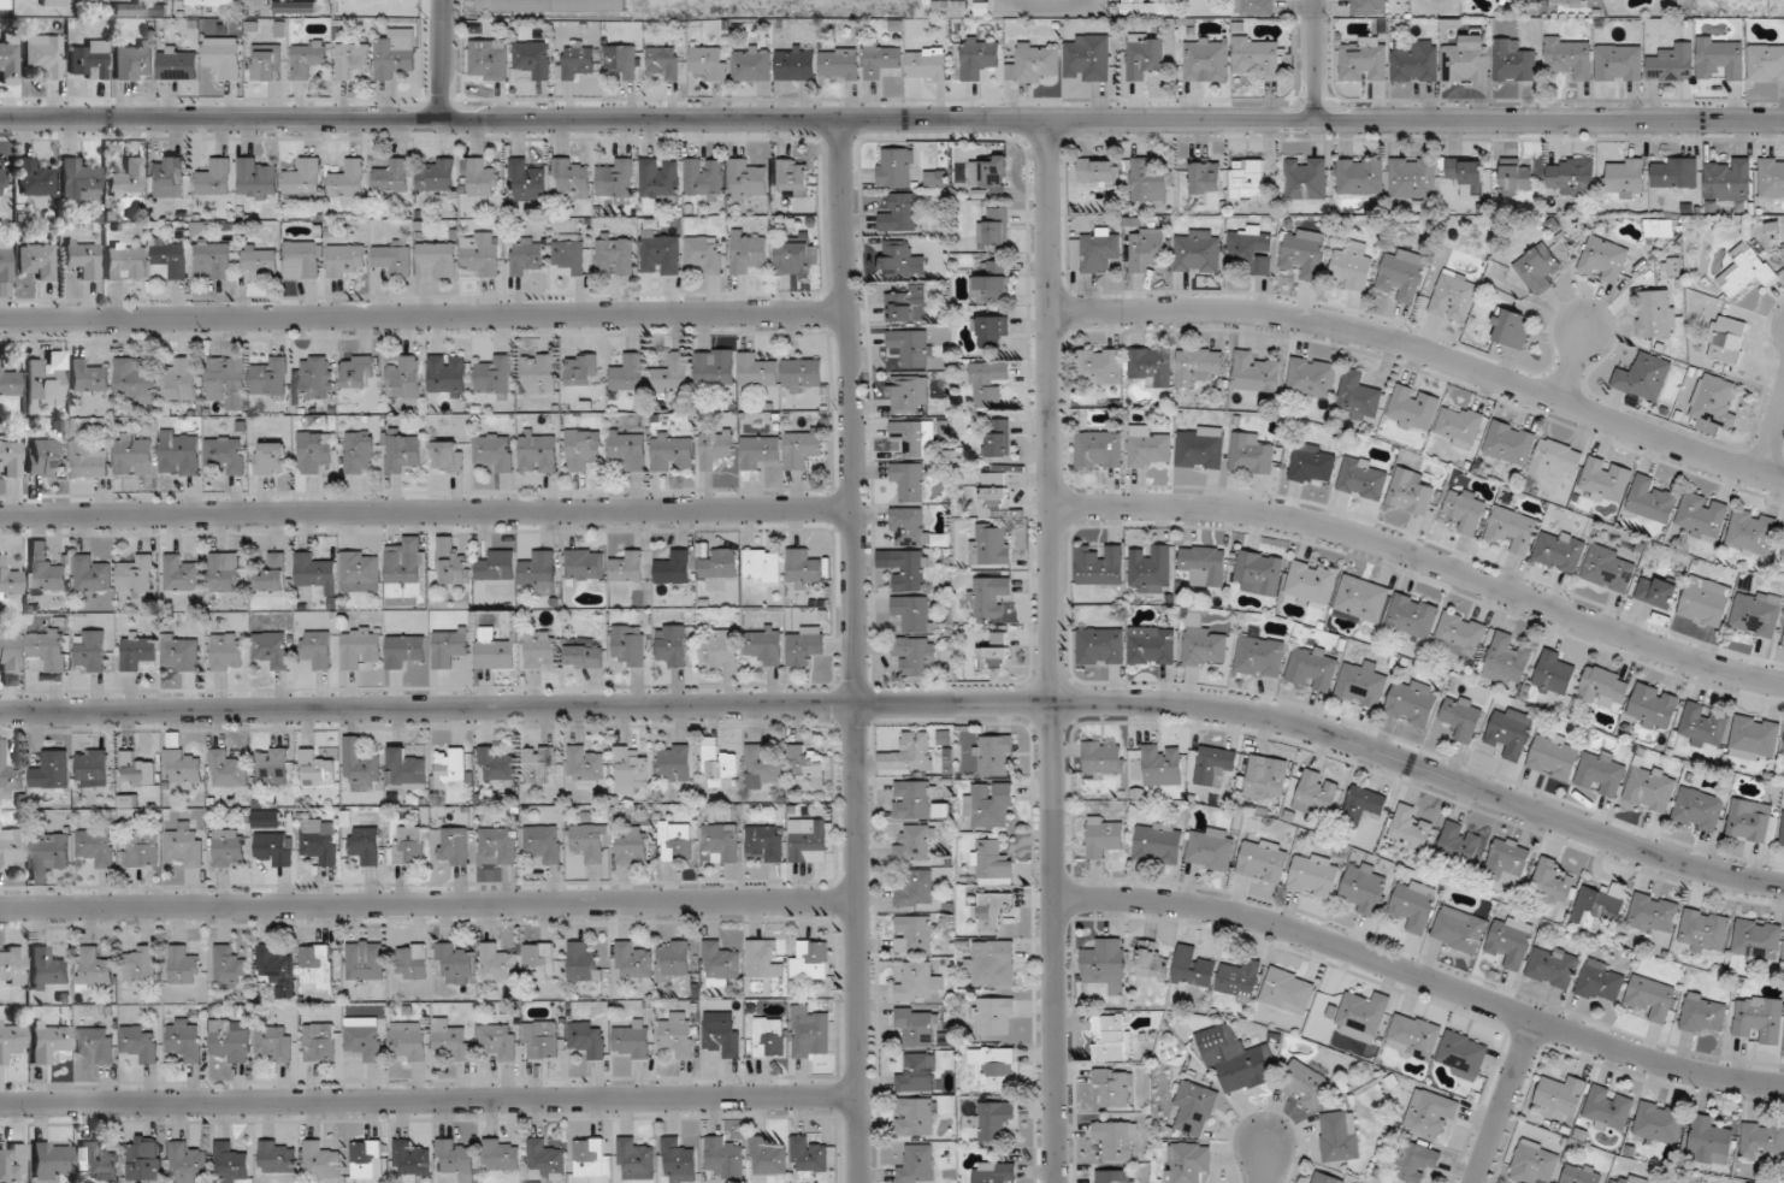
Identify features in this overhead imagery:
building: (1520, 0)
road: (1004, 1)
building: (1567, 1)
building: (4, 2)
building: (54, 2)
road: (1097, 2)
road: (250, 4)
road: (1050, 4)
building: (211, 5)
building: (551, 5)
road: (91, 6)
building: (1146, 6)
building: (295, 7)
building: (952, 7)
building: (1254, 7)
building: (1369, 7)
building: (140, 10)
building: (396, 52)
building: (43, 54)
building: (1145, 54)
building: (1258, 54)
building: (1570, 55)
building: (223, 57)
building: (352, 57)
building: (980, 57)
building: (1087, 57)
building: (90, 58)
building: (308, 58)
building: (533, 58)
building: (881, 58)
building: (1720, 58)
building: (134, 59)
building: (489, 59)
building: (1206, 59)
building: (1365, 59)
building: (1467, 59)
building: (10, 60)
road: (441, 60)
building: (577, 60)
building: (622, 60)
building: (1513, 60)
building: (177, 61)
building: (266, 61)
building: (664, 61)
building: (710, 61)
road: (1317, 61)
building: (1414, 61)
building: (1619, 61)
building: (1766, 61)
building: (752, 63)
building: (796, 63)
building: (927, 63)
building: (1033, 63)
building: (1672, 63)
building: (838, 64)
road: (891, 123)
building: (896, 167)
building: (1098, 170)
building: (1466, 170)
building: (988, 171)
building: (1674, 171)
building: (392, 175)
building: (437, 175)
building: (793, 175)
building: (1572, 175)
building: (77, 176)
building: (572, 176)
building: (1360, 176)
building: (1625, 176)
building: (34, 177)
building: (214, 177)
building: (937, 177)
building: (1205, 177)
building: (1306, 177)
building: (1413, 177)
building: (1772, 177)
building: (126, 178)
building: (170, 178)
building: (256, 178)
building: (303, 178)
building: (482, 178)
building: (704, 178)
building: (1247, 178)
building: (1514, 178)
building: (1727, 178)
building: (349, 179)
building: (526, 179)
building: (661, 179)
building: (748, 179)
building: (618, 181)
building: (1147, 181)
building: (1, 182)
building: (899, 213)
building: (997, 226)
building: (1146, 248)
building: (1251, 248)
building: (748, 250)
building: (1097, 250)
building: (1198, 250)
building: (482, 252)
building: (1304, 252)
building: (661, 253)
building: (705, 253)
building: (615, 254)
building: (526, 255)
building: (569, 255)
building: (793, 255)
building: (171, 256)
building: (215, 256)
building: (394, 256)
building: (438, 256)
building: (83, 258)
building: (6, 259)
building: (345, 259)
building: (902, 259)
building: (1603, 259)
building: (37, 260)
building: (126, 260)
building: (260, 260)
building: (303, 260)
building: (1353, 266)
building: (1538, 267)
building: (1747, 268)
building: (1404, 274)
building: (988, 286)
building: (1454, 296)
building: (908, 304)
building: (1656, 313)
road: (421, 315)
building: (1511, 327)
building: (990, 330)
building: (1726, 339)
building: (910, 347)
road: (1425, 351)
road: (1572, 362)
building: (715, 366)
building: (1099, 366)
building: (1151, 366)
building: (1198, 366)
building: (581, 369)
building: (757, 369)
building: (358, 371)
building: (673, 371)
building: (630, 372)
building: (538, 373)
building: (804, 373)
building: (1256, 373)
building: (448, 374)
building: (89, 375)
building: (270, 375)
building: (315, 375)
building: (495, 375)
building: (404, 377)
building: (1644, 377)
building: (1312, 378)
building: (47, 379)
building: (136, 379)
building: (179, 379)
building: (228, 380)
building: (987, 381)
building: (10, 384)
building: (908, 392)
building: (1359, 397)
building: (1713, 403)
building: (1413, 408)
building: (1459, 425)
road: (1772, 434)
building: (914, 437)
building: (998, 437)
building: (1510, 443)
building: (716, 446)
building: (1200, 446)
building: (630, 448)
building: (803, 448)
building: (1148, 448)
building: (583, 449)
building: (1099, 449)
building: (314, 450)
building: (181, 451)
building: (496, 451)
building: (538, 451)
building: (673, 451)
building: (359, 453)
building: (402, 453)
building: (134, 454)
building: (226, 454)
building: (758, 454)
building: (1251, 454)
building: (449, 456)
building: (10, 457)
building: (42, 457)
building: (270, 457)
building: (1555, 457)
building: (89, 459)
building: (1312, 463)
building: (1364, 477)
building: (909, 480)
building: (1605, 480)
building: (1410, 491)
building: (994, 493)
building: (1650, 499)
building: (1464, 507)
road: (425, 513)
building: (1702, 516)
building: (912, 528)
building: (1512, 530)
building: (1753, 533)
building: (991, 543)
building: (1560, 550)
building: (1783, 557)
road: (1425, 560)
building: (585, 563)
building: (721, 563)
building: (497, 564)
building: (762, 564)
building: (1099, 564)
building: (1204, 564)
building: (674, 566)
building: (453, 567)
building: (627, 567)
building: (538, 568)
building: (802, 568)
building: (1150, 568)
building: (1609, 568)
building: (360, 570)
building: (910, 570)
building: (225, 572)
building: (315, 572)
building: (406, 572)
building: (1260, 572)
building: (93, 573)
building: (181, 573)
building: (273, 573)
building: (136, 574)
building: (47, 575)
building: (10, 579)
building: (1311, 584)
building: (1656, 591)
building: (988, 595)
building: (1361, 598)
building: (1706, 601)
building: (914, 613)
building: (1756, 613)
building: (1412, 616)
building: (1460, 634)
building: (1783, 641)
building: (1204, 643)
building: (630, 644)
building: (764, 644)
building: (450, 645)
building: (672, 645)
building: (805, 645)
building: (1101, 645)
building: (1152, 645)
building: (361, 646)
building: (317, 647)
building: (48, 649)
building: (272, 649)
building: (404, 649)
building: (494, 649)
building: (720, 649)
building: (90, 650)
building: (540, 650)
building: (138, 651)
building: (226, 651)
building: (8, 652)
building: (179, 652)
road: (853, 652)
road: (1052, 652)
building: (584, 653)
building: (916, 656)
building: (996, 656)
building: (1260, 656)
building: (1506, 661)
building: (1312, 667)
building: (1554, 672)
building: (1361, 684)
building: (1603, 686)
building: (1413, 702)
road: (906, 705)
building: (1653, 706)
building: (1461, 716)
building: (1703, 726)
building: (1511, 730)
building: (1754, 738)
building: (908, 753)
building: (994, 755)
building: (1554, 756)
building: (1103, 757)
building: (1783, 758)
building: (675, 762)
building: (808, 762)
building: (584, 763)
building: (717, 763)
building: (450, 764)
building: (496, 764)
building: (1162, 764)
building: (1215, 764)
building: (272, 765)
building: (539, 765)
building: (91, 767)
building: (182, 767)
building: (404, 767)
building: (228, 768)
building: (362, 768)
building: (763, 768)
building: (51, 769)
building: (317, 769)
building: (630, 769)
building: (137, 770)
building: (8, 771)
building: (1601, 771)
building: (1263, 779)
building: (1650, 787)
building: (1316, 793)
building: (911, 799)
building: (991, 805)
building: (1364, 805)
building: (1699, 809)
building: (1753, 822)
building: (1408, 828)
building: (1783, 833)
building: (1104, 835)
building: (319, 840)
building: (675, 840)
building: (809, 840)
building: (590, 841)
building: (722, 841)
building: (766, 841)
building: (543, 842)
building: (1158, 842)
building: (365, 844)
building: (500, 844)
building: (631, 844)
building: (915, 844)
building: (1459, 844)
building: (185, 845)
building: (409, 845)
building: (454, 845)
building: (95, 846)
building: (11, 847)
building: (142, 847)
building: (229, 847)
building: (273, 848)
building: (1210, 848)
building: (48, 853)
building: (1263, 859)
building: (1507, 859)
building: (1313, 874)
building: (1553, 882)
building: (915, 888)
building: (1364, 889)
building: (1601, 901)
building: (1414, 903)
road: (429, 904)
building: (991, 909)
building: (1654, 913)
building: (1459, 929)
building: (1703, 930)
building: (912, 934)
building: (1511, 939)
building: (1758, 939)
building: (674, 957)
building: (365, 959)
building: (632, 959)
building: (762, 959)
building: (811, 959)
building: (412, 960)
building: (538, 960)
building: (1152, 960)
building: (581, 962)
building: (141, 963)
building: (455, 963)
building: (497, 963)
building: (719, 963)
building: (992, 963)
building: (230, 964)
building: (1105, 964)
building: (12, 965)
building: (183, 965)
building: (315, 965)
building: (94, 966)
building: (1553, 966)
building: (1193, 968)
building: (48, 970)
building: (277, 971)
road: (1422, 978)
building: (1239, 980)
building: (917, 982)
building: (1601, 982)
building: (1288, 990)
building: (1654, 998)
building: (1705, 1013)
building: (994, 1016)
building: (1359, 1017)
building: (1758, 1018)
building: (916, 1025)
building: (810, 1033)
building: (678, 1034)
building: (722, 1034)
building: (364, 1036)
building: (769, 1036)
building: (1413, 1036)
building: (453, 1037)
building: (1112, 1037)
building: (409, 1039)
building: (540, 1039)
building: (632, 1039)
building: (12, 1040)
building: (184, 1040)
building: (229, 1040)
building: (500, 1040)
building: (587, 1040)
building: (49, 1041)
building: (319, 1041)
building: (96, 1043)
building: (138, 1043)
building: (1463, 1054)
building: (1233, 1058)
building: (994, 1067)
building: (917, 1072)
building: (1307, 1083)
building: (1113, 1087)
building: (1560, 1096)
road: (429, 1100)
road: (1505, 1102)
building: (1195, 1108)
building: (1608, 1110)
building: (1431, 1112)
building: (914, 1116)
building: (994, 1119)
building: (1660, 1123)
building: (1340, 1135)
building: (1115, 1138)
building: (1762, 1140)
building: (1709, 1141)
building: (501, 1155)
building: (808, 1155)
building: (276, 1157)
building: (453, 1157)
building: (591, 1157)
building: (768, 1157)
building: (723, 1158)
building: (53, 1159)
building: (144, 1159)
building: (366, 1159)
building: (410, 1159)
building: (636, 1159)
building: (320, 1160)
building: (545, 1160)
building: (678, 1160)
building: (1414, 1160)
building: (95, 1161)
building: (230, 1161)
building: (1187, 1161)
building: (1535, 1161)
building: (13, 1163)
building: (188, 1163)
building: (916, 1165)
road: (1265, 1165)
building: (994, 1172)
building: (1581, 1173)
building: (1115, 1176)
building: (1323, 1177)
building: (1636, 1179)
building: (1614, 1182)
building: (1662, 1182)

